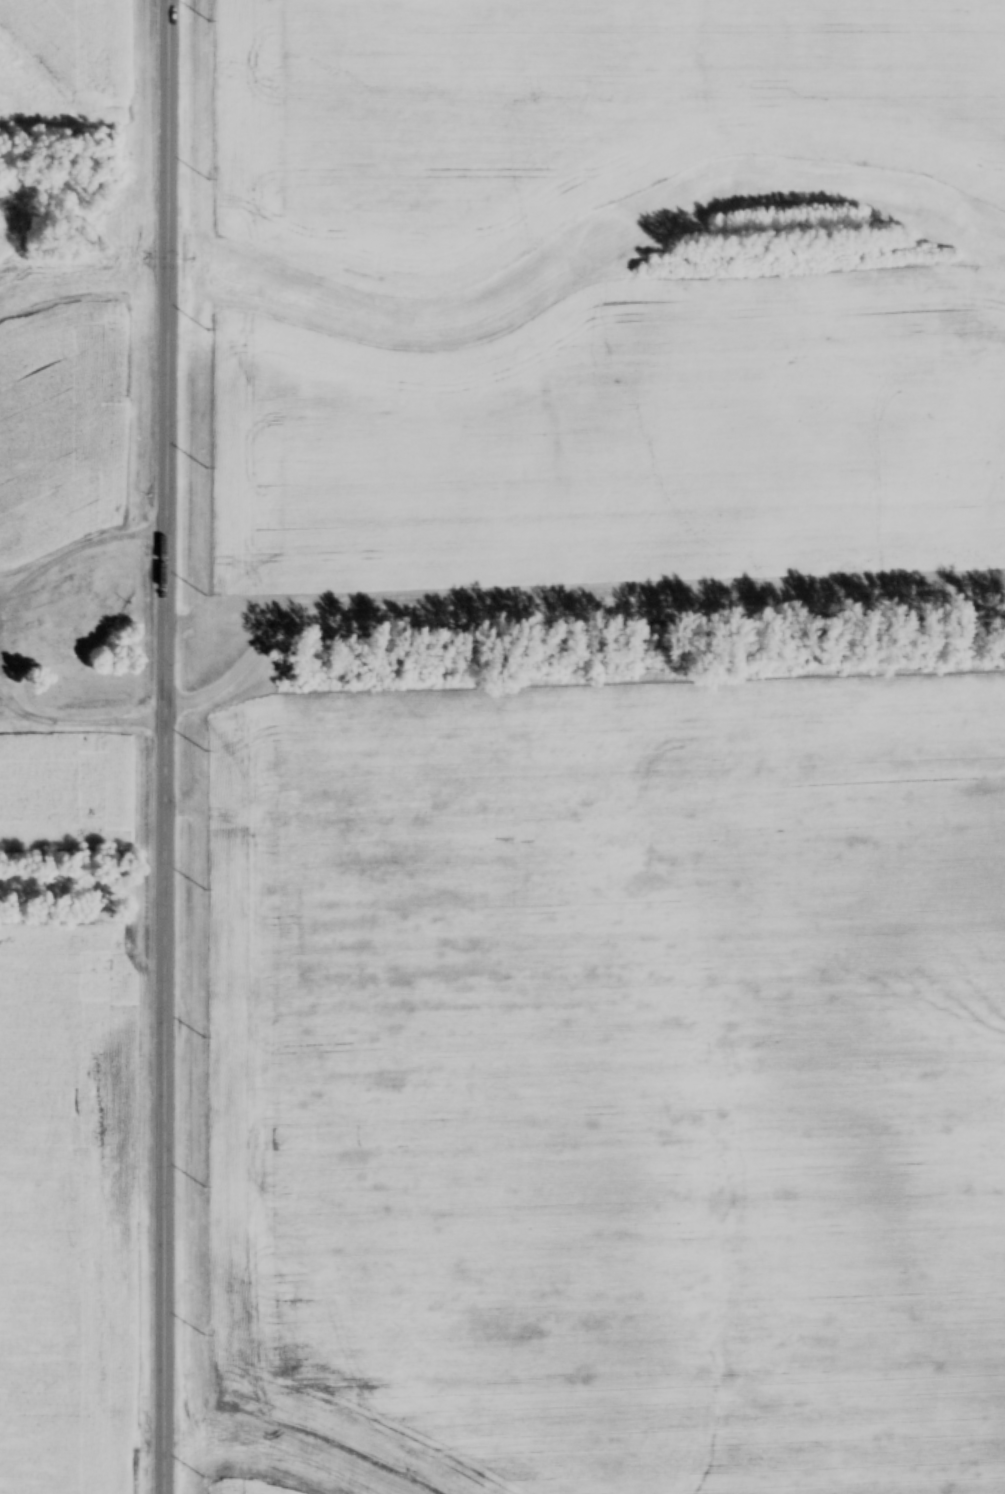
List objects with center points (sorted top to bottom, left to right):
road: (574, 603)
road: (1, 647)
road: (173, 746)

